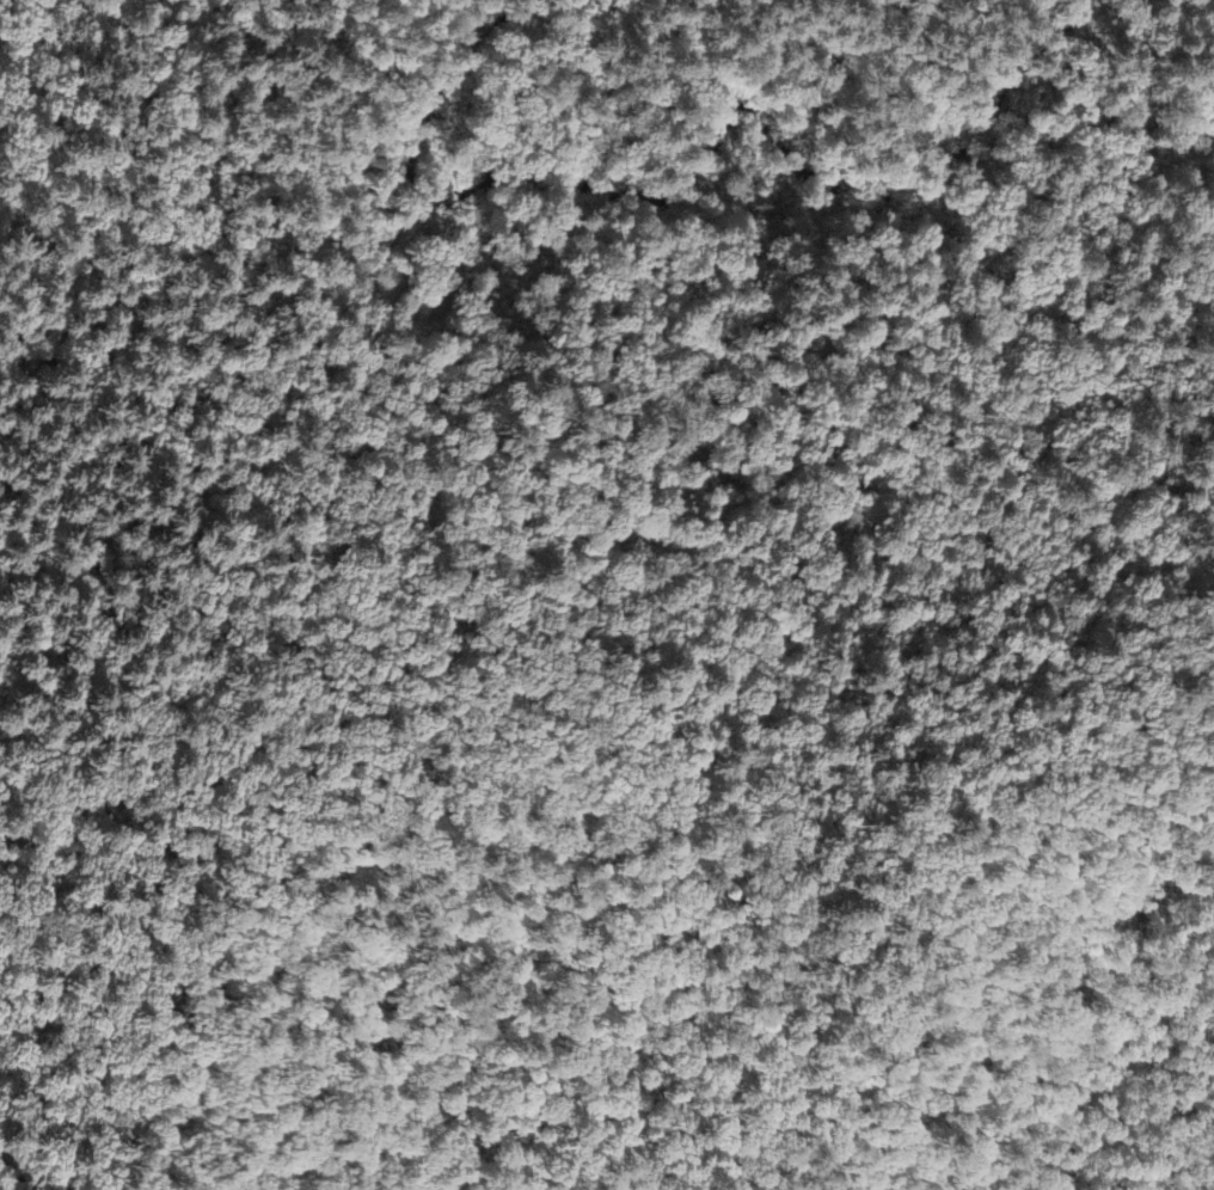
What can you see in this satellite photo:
road: (629, 785)

